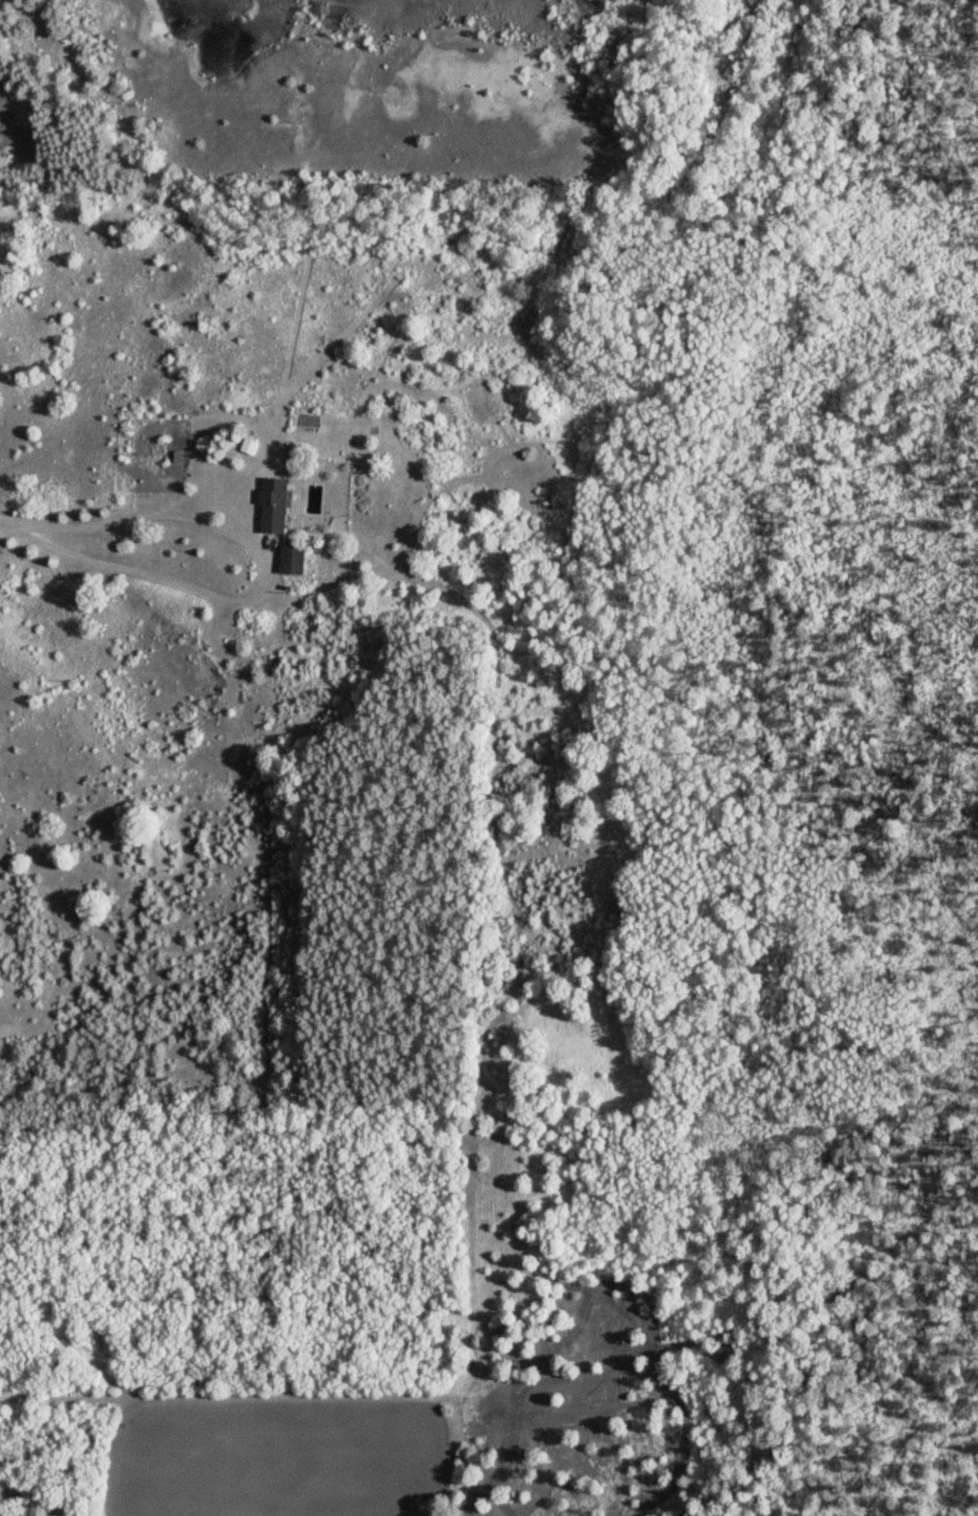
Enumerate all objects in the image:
building: (276, 504)
building: (296, 557)
road: (271, 571)

